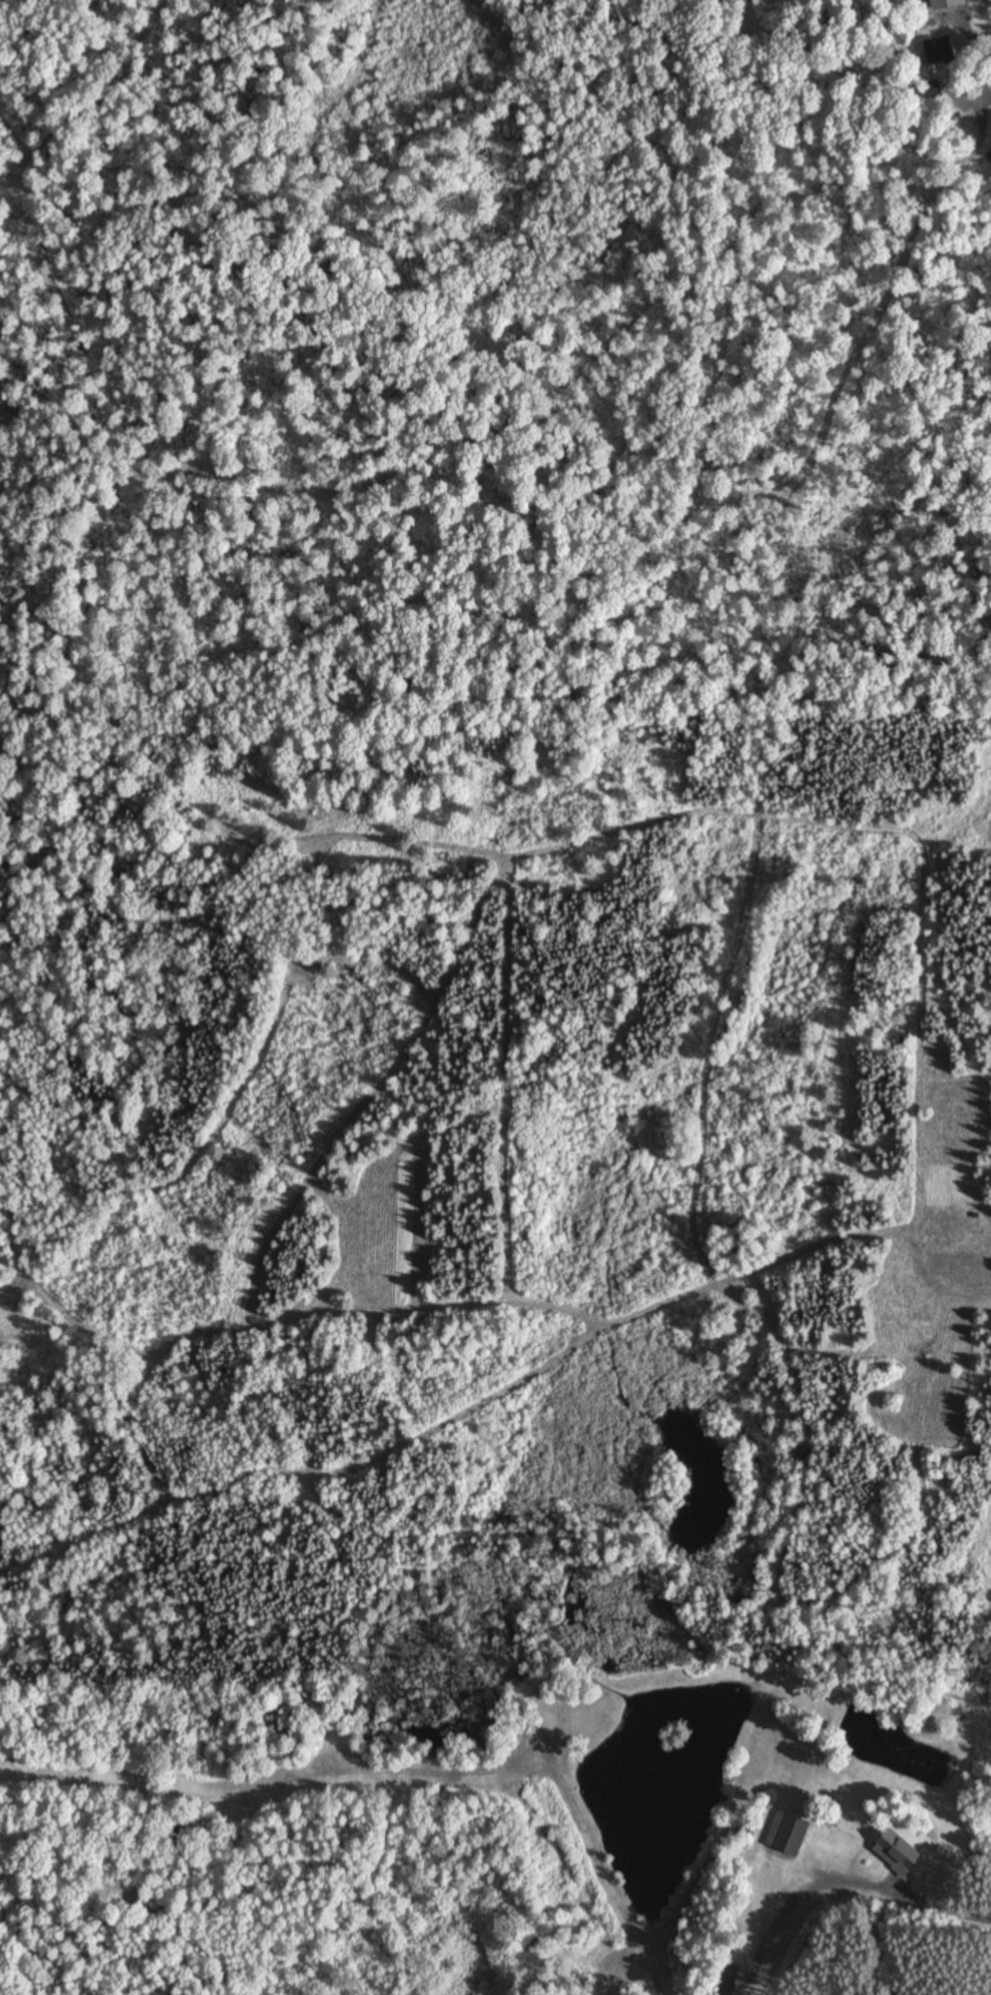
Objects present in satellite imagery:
building: (933, 90)
building: (785, 1835)
building: (894, 1852)
building: (724, 1981)

